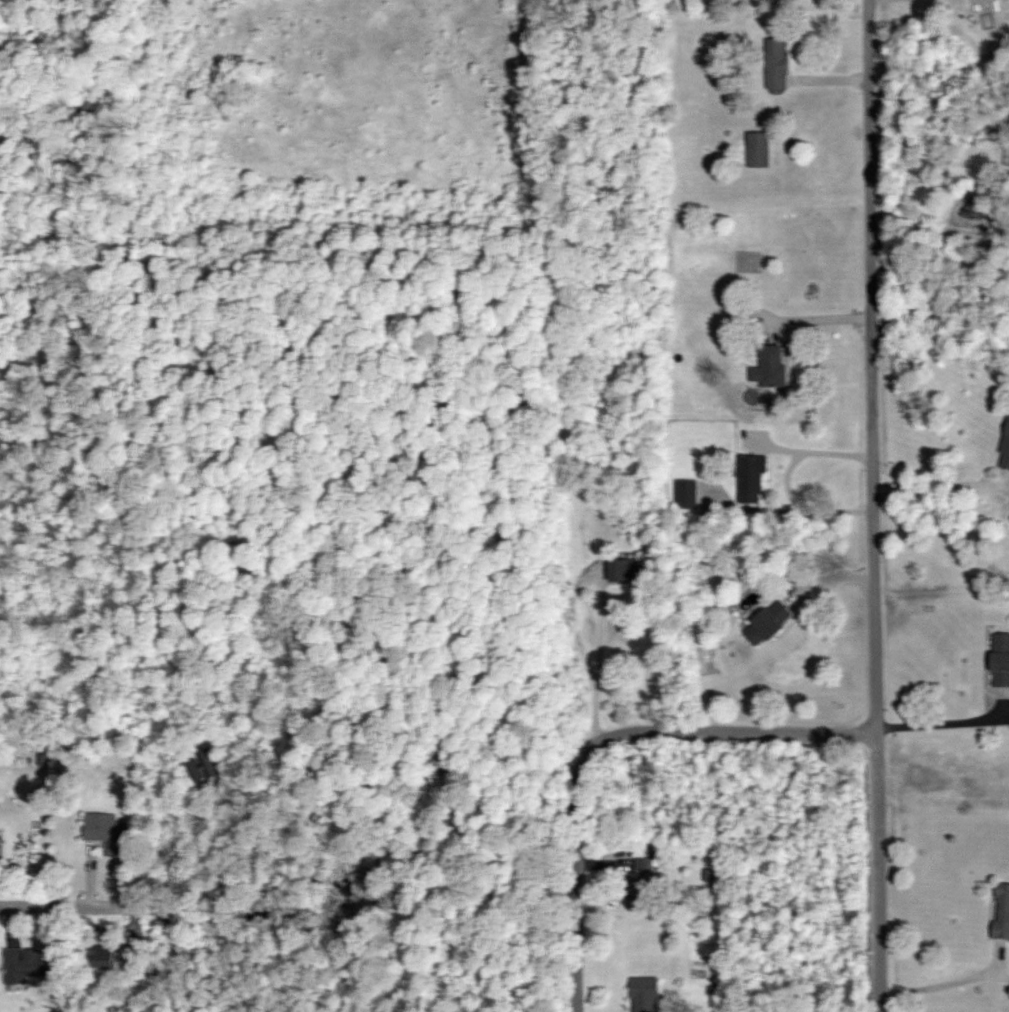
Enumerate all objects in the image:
building: (776, 63)
building: (758, 149)
road: (927, 260)
building: (738, 315)
road: (820, 316)
building: (769, 366)
road: (814, 447)
building: (1005, 449)
building: (750, 477)
road: (941, 485)
building: (685, 493)
road: (873, 506)
building: (625, 568)
road: (600, 590)
building: (767, 623)
building: (1000, 659)
road: (948, 720)
road: (736, 727)
building: (200, 765)
building: (107, 831)
building: (0, 845)
road: (576, 871)
building: (640, 883)
road: (133, 908)
building: (1001, 910)
building: (103, 962)
building: (25, 964)
road: (939, 982)
building: (645, 994)

